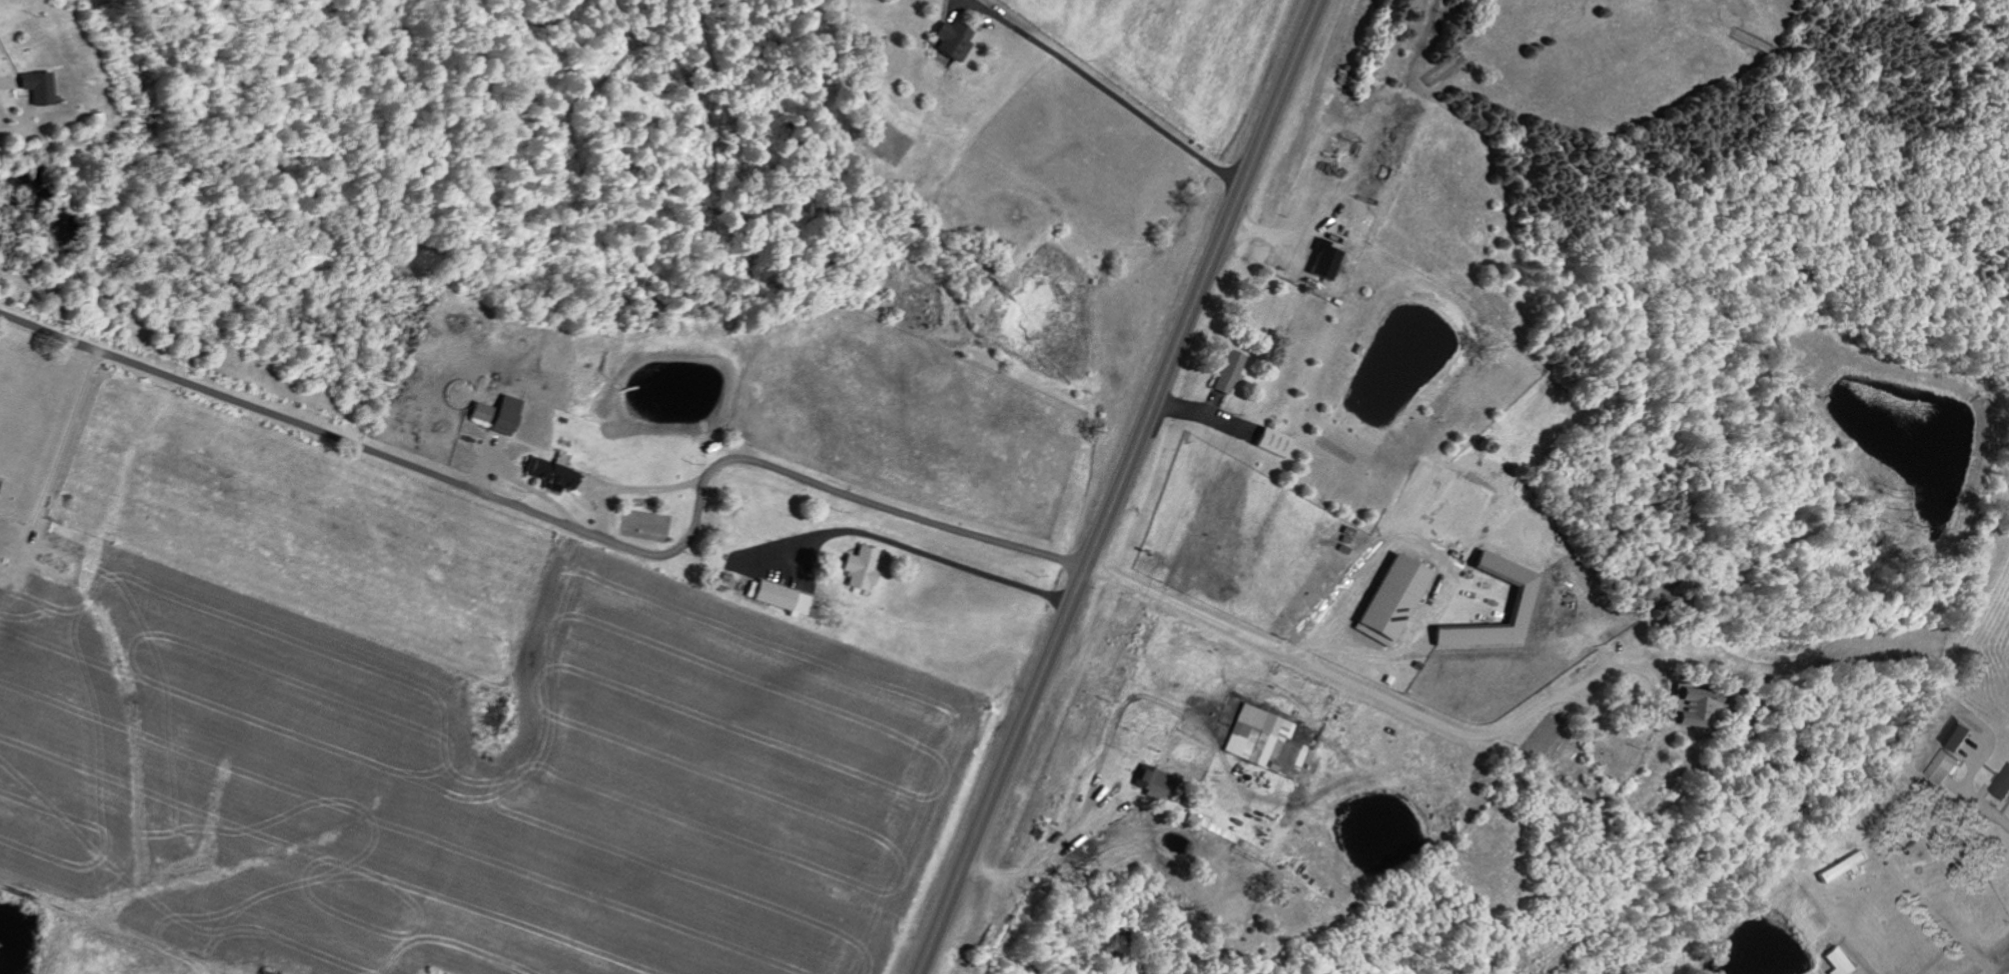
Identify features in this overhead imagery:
building: (952, 40)
building: (36, 88)
road: (1105, 89)
building: (1324, 263)
building: (1228, 373)
building: (492, 417)
building: (1274, 443)
building: (550, 470)
road: (1120, 487)
road: (564, 527)
building: (861, 567)
building: (1524, 597)
building: (782, 598)
building: (1392, 599)
road: (1326, 634)
road: (1351, 682)
building: (1691, 709)
building: (1958, 734)
building: (1266, 742)
building: (1945, 767)
building: (1154, 782)
building: (2003, 786)
building: (1845, 867)
building: (1841, 962)
road: (2003, 969)

